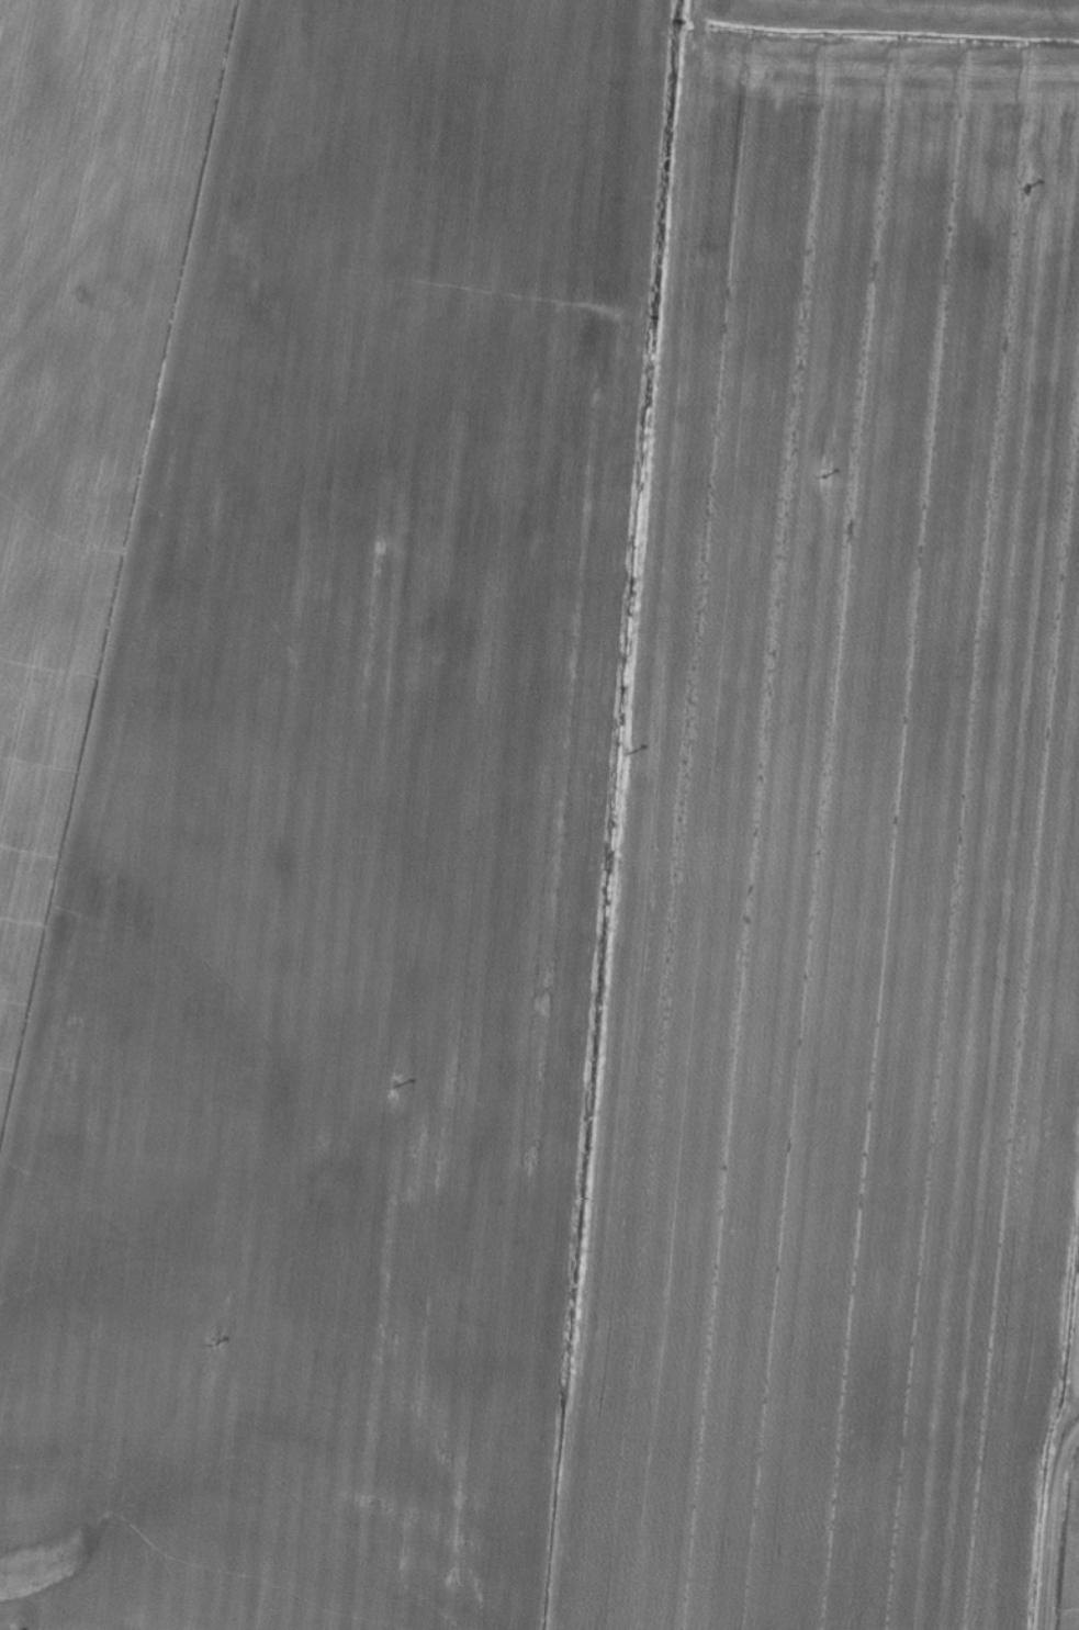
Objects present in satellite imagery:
road: (1053, 1530)

